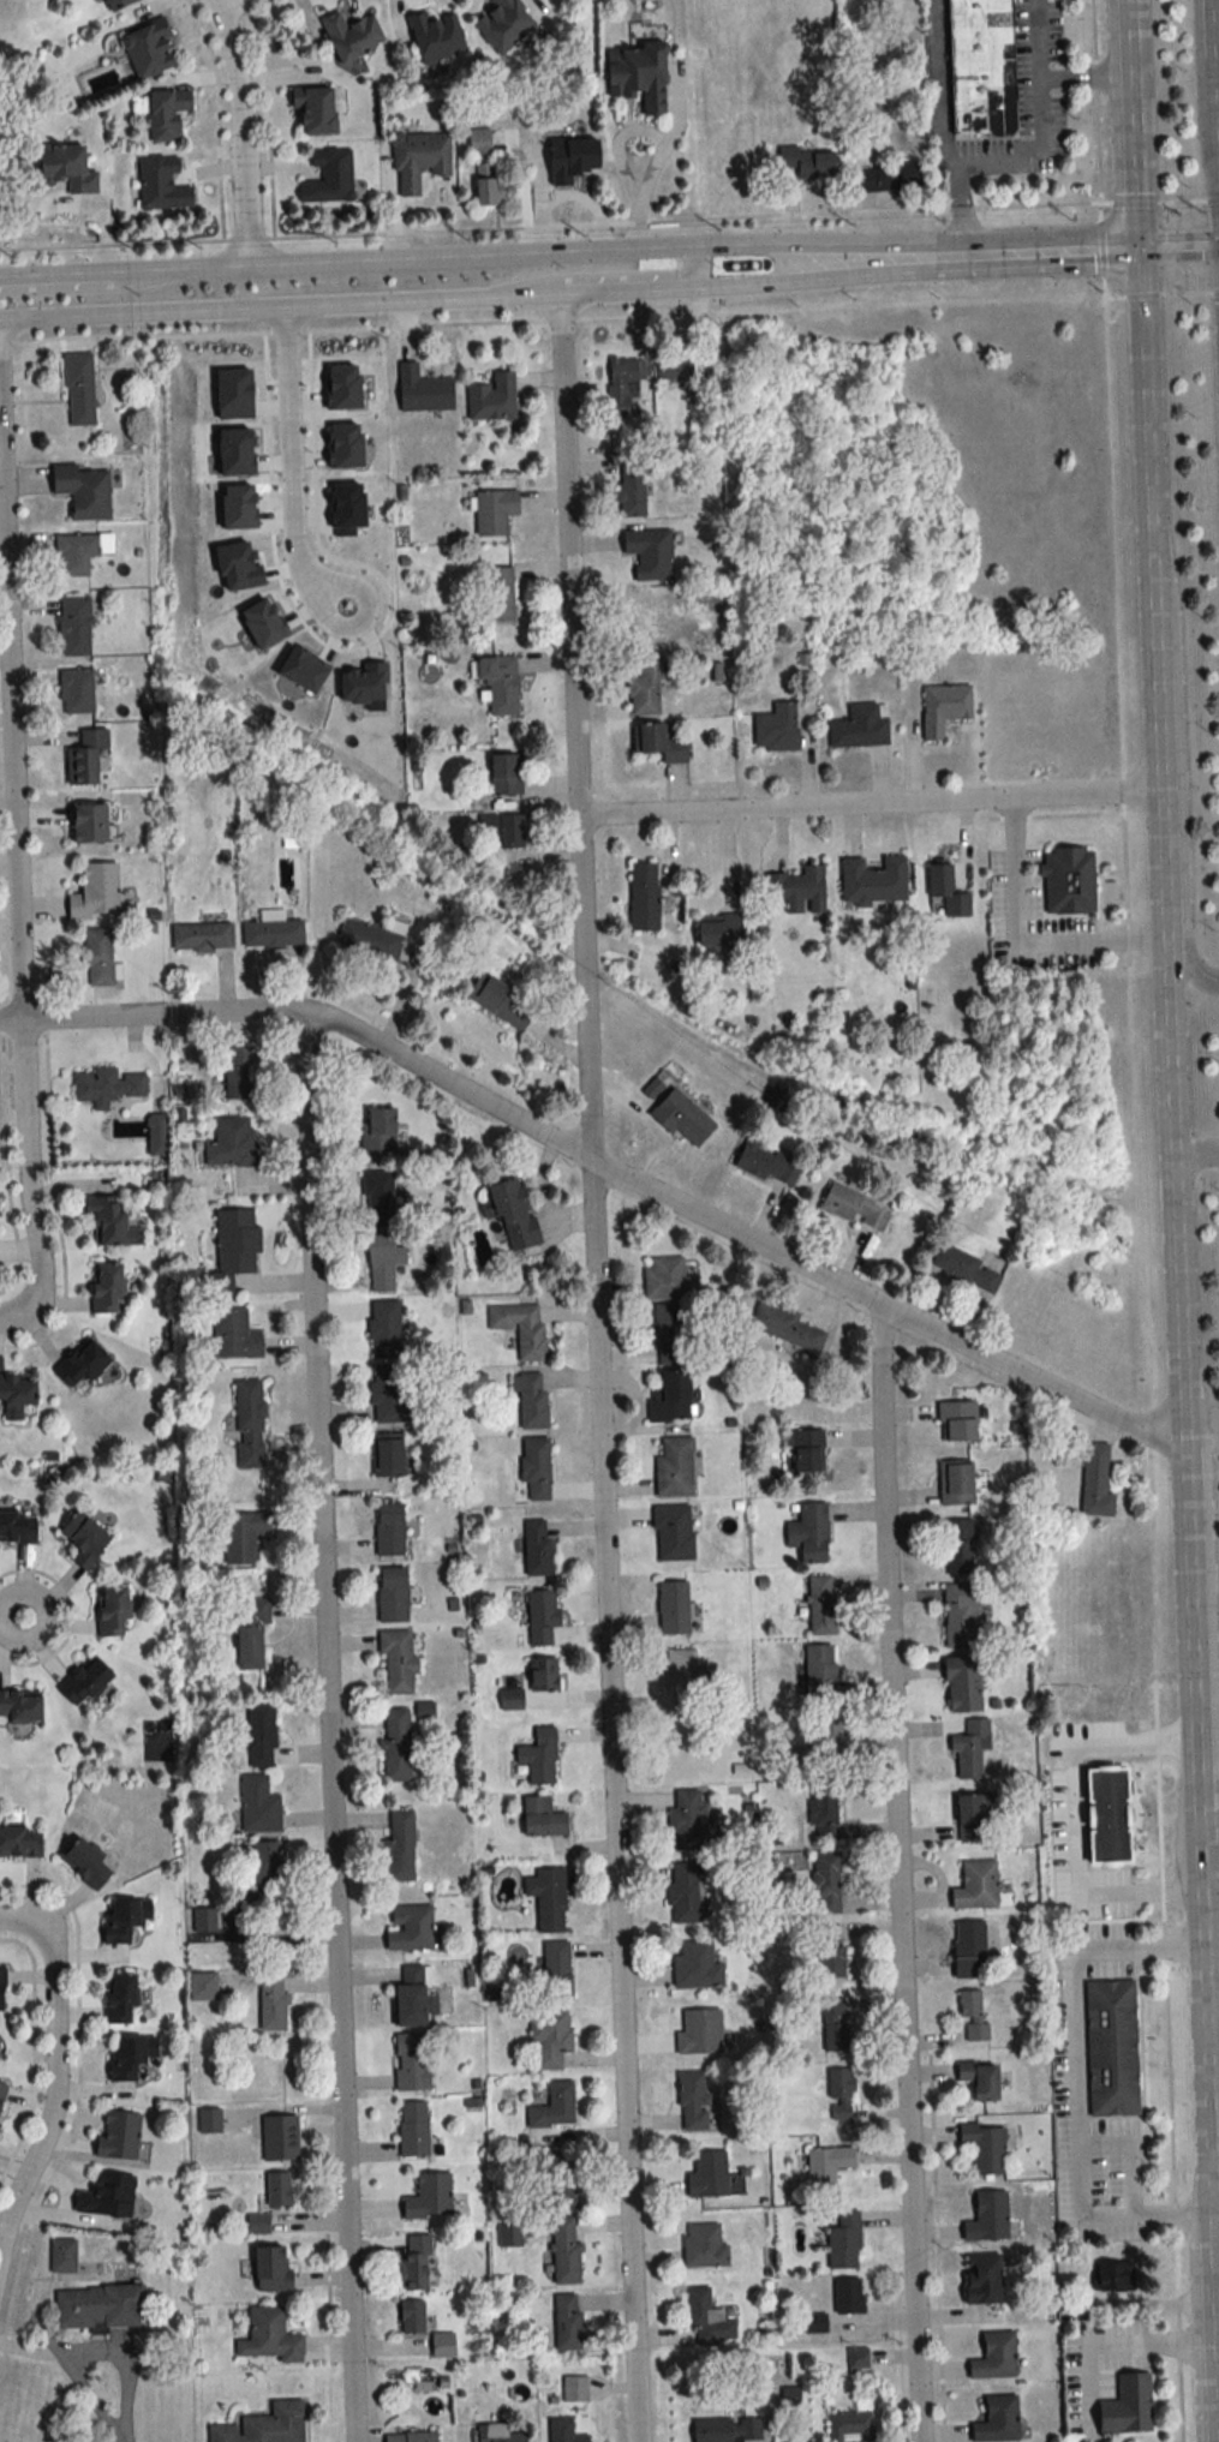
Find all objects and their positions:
building: (116, 4)
road: (235, 7)
building: (503, 24)
building: (351, 36)
building: (436, 36)
road: (1217, 42)
building: (148, 49)
building: (639, 74)
road: (1087, 74)
road: (939, 83)
road: (1197, 88)
building: (313, 109)
building: (993, 113)
building: (166, 114)
road: (1041, 115)
road: (1135, 125)
road: (239, 130)
building: (479, 142)
road: (661, 142)
building: (419, 160)
building: (807, 162)
building: (66, 167)
building: (328, 176)
building: (885, 176)
building: (161, 184)
building: (491, 186)
road: (960, 210)
road: (652, 223)
road: (1179, 250)
traffic signals: (1141, 251)
road: (1036, 253)
road: (812, 256)
road: (345, 258)
road: (629, 279)
road: (61, 285)
road: (747, 285)
road: (280, 307)
building: (674, 369)
building: (622, 388)
building: (78, 389)
building: (422, 390)
building: (491, 397)
road: (1146, 397)
building: (697, 401)
road: (291, 466)
building: (631, 485)
building: (83, 490)
building: (494, 511)
building: (79, 552)
building: (649, 552)
road: (569, 555)
building: (497, 595)
building: (643, 612)
building: (73, 626)
building: (498, 683)
building: (645, 687)
road: (12, 689)
building: (76, 690)
building: (943, 708)
building: (860, 726)
building: (776, 729)
building: (657, 741)
building: (84, 756)
road: (1182, 772)
building: (504, 773)
road: (879, 804)
building: (88, 822)
building: (485, 825)
building: (512, 831)
building: (873, 880)
building: (1068, 880)
building: (797, 890)
building: (945, 891)
building: (95, 892)
building: (643, 897)
building: (271, 933)
building: (719, 933)
road: (1026, 935)
building: (201, 936)
building: (368, 942)
building: (97, 956)
building: (501, 1000)
road: (12, 1025)
building: (237, 1072)
building: (106, 1085)
building: (673, 1111)
building: (378, 1132)
building: (155, 1135)
building: (232, 1142)
road: (1196, 1153)
building: (765, 1163)
road: (614, 1175)
road: (26, 1184)
building: (378, 1198)
building: (854, 1209)
building: (513, 1214)
building: (109, 1222)
building: (233, 1249)
building: (381, 1263)
building: (966, 1269)
building: (667, 1279)
building: (104, 1288)
building: (520, 1327)
building: (784, 1327)
building: (384, 1329)
building: (668, 1331)
building: (234, 1335)
building: (79, 1364)
building: (16, 1395)
building: (388, 1395)
building: (670, 1395)
building: (531, 1399)
road: (1182, 1405)
building: (956, 1421)
building: (249, 1424)
building: (806, 1452)
building: (387, 1455)
building: (534, 1467)
building: (674, 1468)
building: (1095, 1482)
building: (955, 1483)
building: (17, 1527)
building: (388, 1530)
building: (673, 1533)
building: (809, 1533)
building: (241, 1537)
building: (84, 1539)
building: (537, 1548)
building: (957, 1548)
building: (392, 1596)
building: (821, 1606)
building: (673, 1608)
building: (112, 1612)
road: (12, 1616)
building: (961, 1616)
building: (542, 1617)
road: (605, 1628)
building: (250, 1632)
building: (396, 1663)
building: (681, 1671)
building: (543, 1676)
building: (84, 1683)
road: (1212, 1684)
building: (962, 1686)
building: (1088, 1700)
building: (19, 1707)
building: (817, 1712)
road: (327, 1729)
building: (261, 1735)
building: (395, 1746)
building: (969, 1749)
building: (538, 1759)
building: (258, 1806)
building: (823, 1813)
road: (1070, 1815)
building: (972, 1816)
building: (542, 1819)
building: (686, 1821)
building: (19, 1842)
building: (399, 1848)
building: (84, 1865)
building: (263, 1865)
road: (896, 1874)
building: (825, 1884)
building: (975, 1887)
building: (682, 1893)
building: (548, 1898)
building: (124, 1919)
building: (203, 1920)
building: (410, 1929)
building: (968, 1950)
building: (829, 1952)
building: (695, 1967)
building: (555, 1970)
building: (202, 1986)
building: (1, 1989)
building: (410, 1997)
building: (119, 1998)
road: (1212, 1998)
building: (271, 2005)
building: (973, 2016)
building: (833, 2024)
building: (699, 2033)
building: (549, 2039)
building: (1111, 2048)
building: (130, 2055)
building: (411, 2061)
road: (53, 2073)
building: (979, 2078)
road: (1075, 2081)
building: (1, 2091)
building: (839, 2094)
building: (692, 2101)
building: (554, 2107)
building: (208, 2120)
building: (413, 2129)
building: (118, 2135)
building: (280, 2137)
building: (985, 2147)
building: (825, 2165)
building: (707, 2174)
building: (277, 2189)
building: (106, 2195)
building: (429, 2196)
building: (558, 2196)
building: (987, 2217)
building: (843, 2242)
building: (704, 2246)
building: (564, 2252)
building: (61, 2256)
building: (414, 2261)
building: (270, 2268)
building: (1113, 2278)
building: (982, 2279)
building: (847, 2296)
building: (97, 2306)
building: (411, 2316)
building: (706, 2320)
building: (567, 2322)
road: (1217, 2327)
building: (268, 2336)
road: (1117, 2342)
building: (442, 2345)
building: (994, 2357)
building: (858, 2359)
road: (124, 2366)
road: (74, 2374)
building: (574, 2389)
building: (1128, 2405)
building: (997, 2419)
building: (851, 2424)
building: (263, 2425)
building: (727, 2430)
building: (563, 2431)
building: (497, 2434)
building: (410, 2437)

